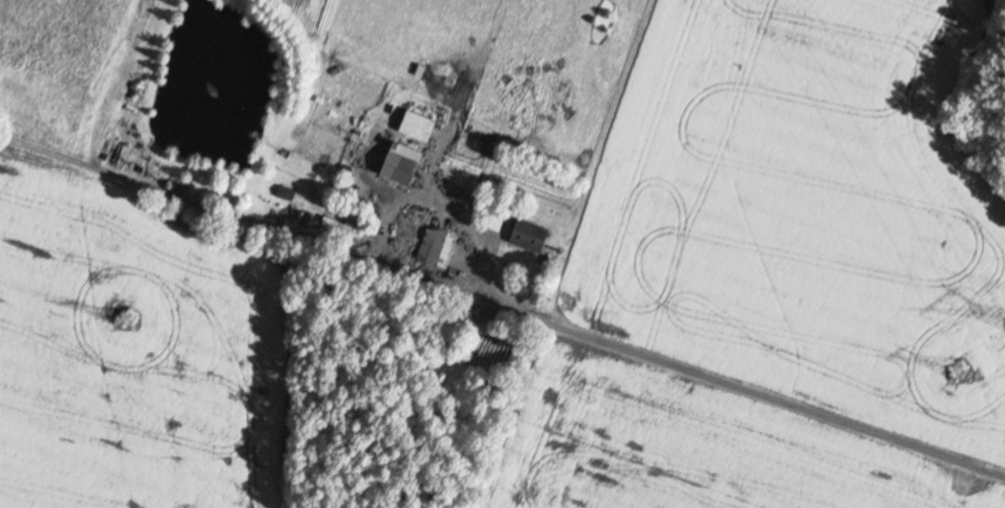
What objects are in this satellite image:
building: (417, 126)
power tower: (48, 163)
building: (400, 167)
building: (269, 199)
building: (339, 226)
building: (529, 235)
building: (437, 246)
road: (502, 304)
power tower: (959, 374)

